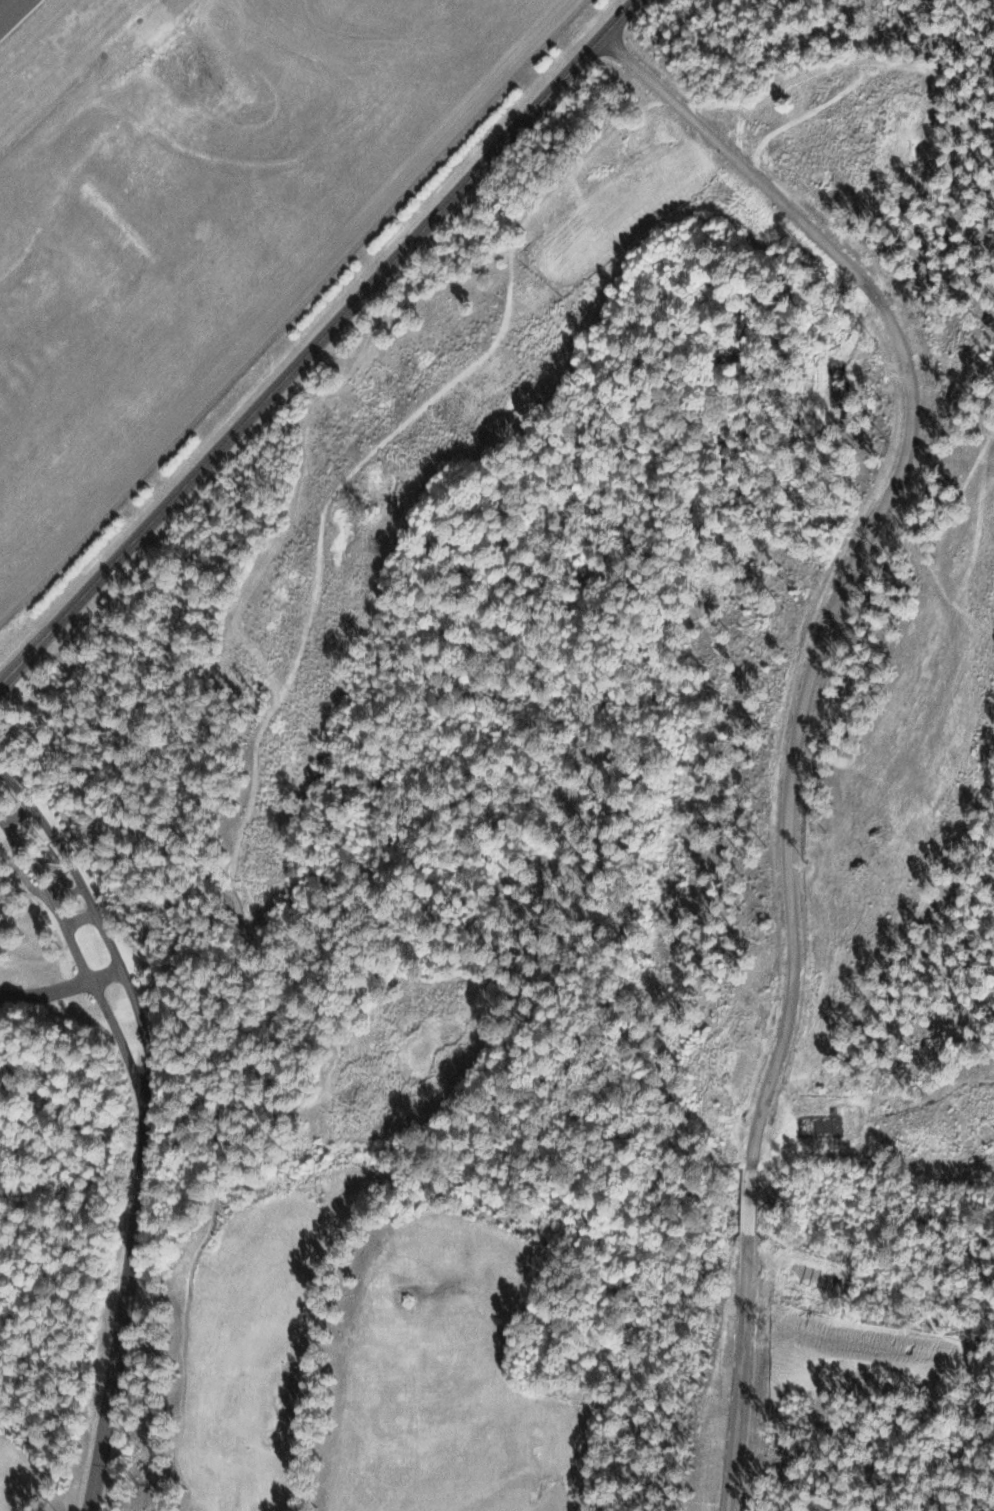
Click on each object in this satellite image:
airport: (200, 212)
road: (319, 343)
park: (613, 848)
road: (102, 935)
road: (82, 964)
road: (60, 989)
road: (121, 1315)

